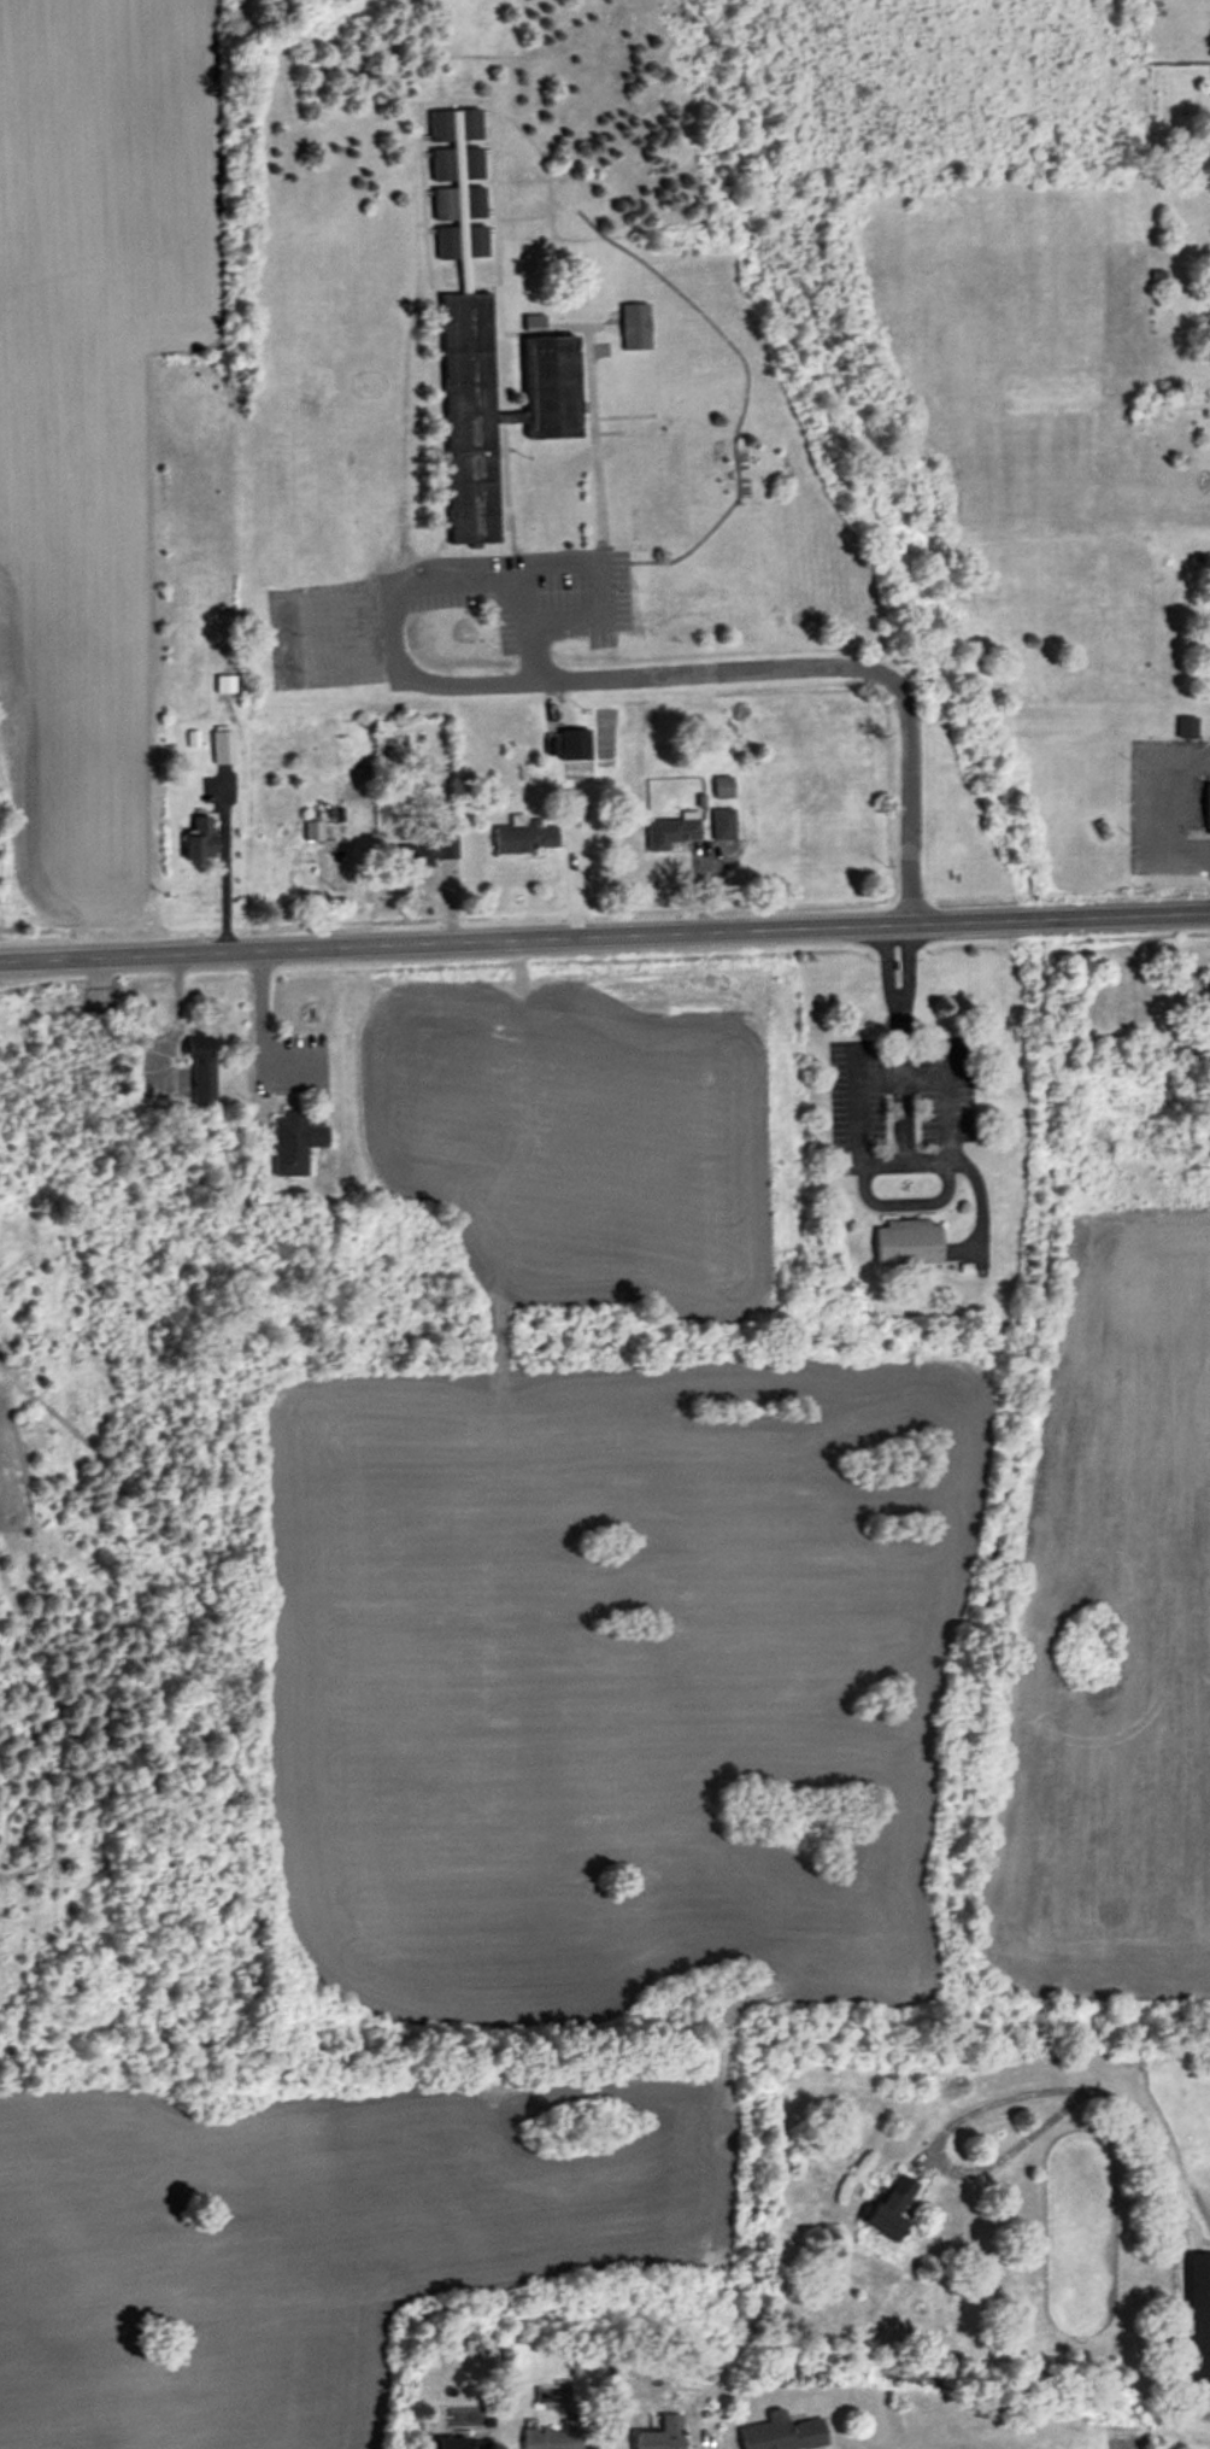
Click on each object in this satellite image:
building: (470, 127)
building: (441, 128)
building: (472, 164)
building: (445, 186)
building: (475, 204)
building: (448, 242)
building: (476, 242)
building: (636, 327)
building: (552, 387)
building: (471, 418)
building: (658, 486)
road: (610, 675)
building: (227, 685)
building: (1187, 727)
building: (575, 745)
building: (224, 748)
building: (723, 789)
building: (1209, 808)
road: (1170, 809)
building: (723, 826)
building: (313, 831)
building: (672, 833)
building: (525, 838)
building: (201, 839)
building: (422, 853)
road: (223, 883)
road: (605, 933)
building: (1209, 991)
road: (259, 1019)
building: (202, 1070)
building: (295, 1143)
building: (909, 1243)
road: (936, 2150)
building: (892, 2208)
road: (1173, 2230)
building: (1199, 2319)
building: (785, 2433)
building: (664, 2435)
building: (554, 2437)
building: (458, 2443)

